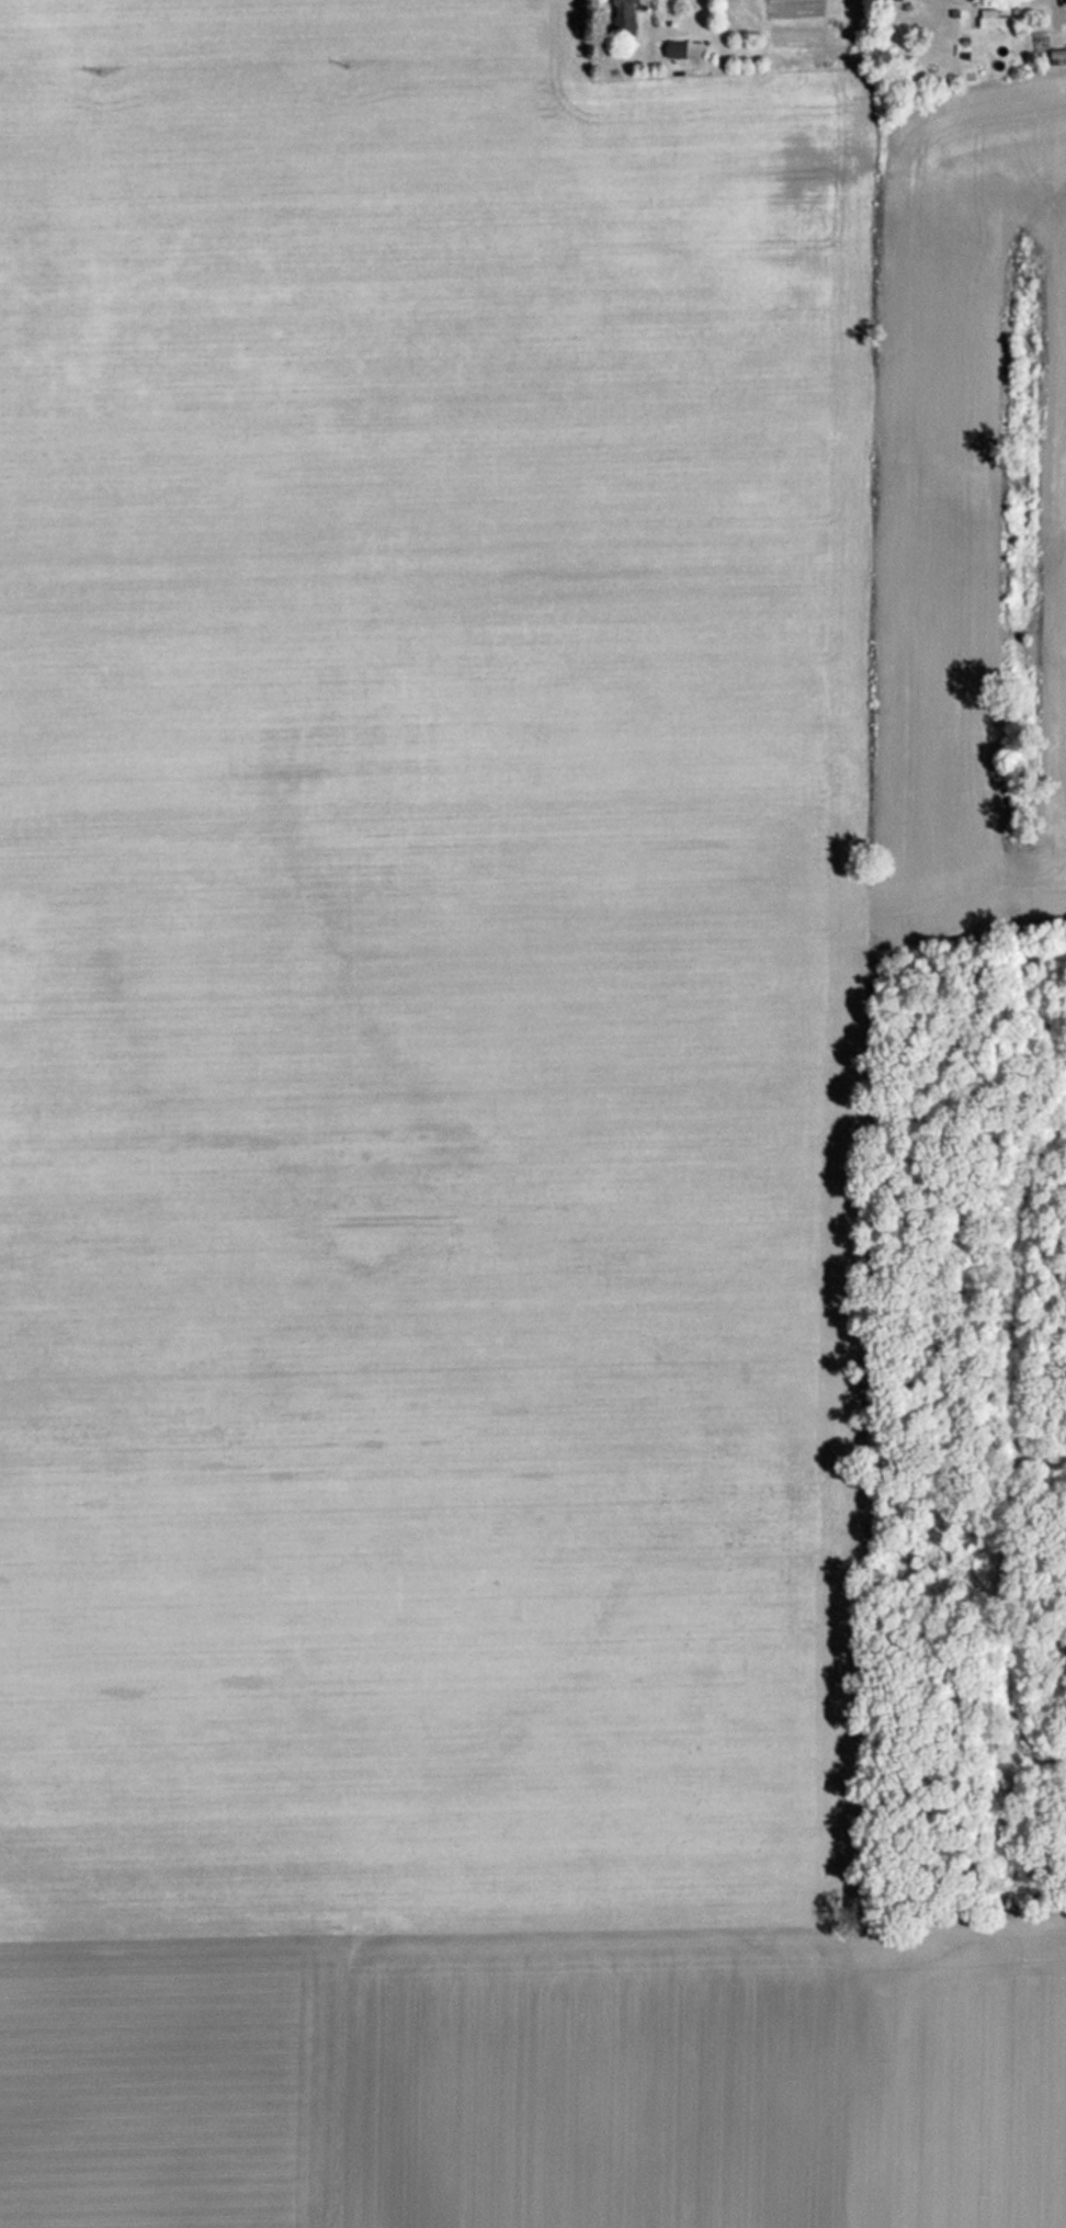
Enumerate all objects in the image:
building: (624, 16)
building: (997, 20)
building: (684, 48)

